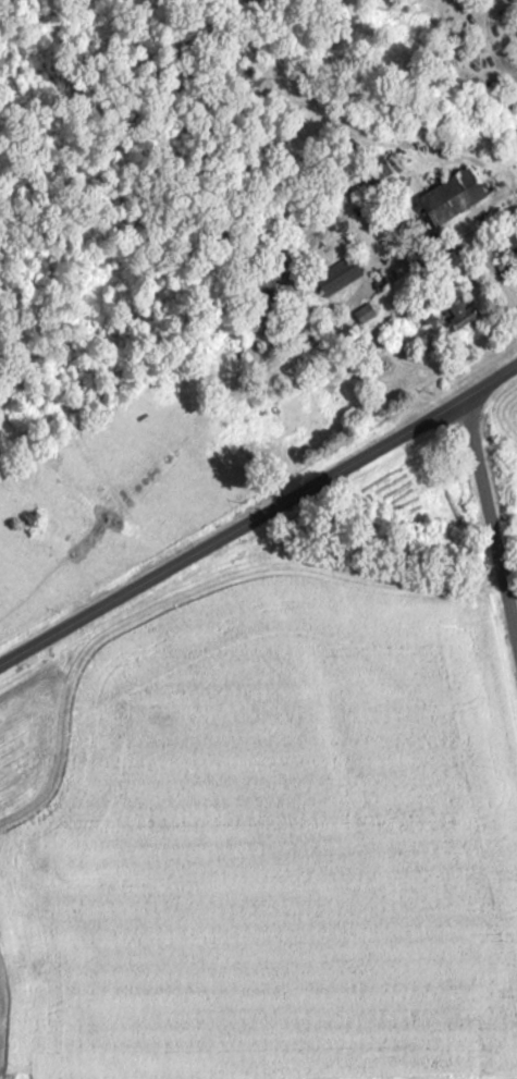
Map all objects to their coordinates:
building: (452, 195)
building: (508, 246)
road: (491, 269)
building: (337, 274)
building: (459, 310)
road: (258, 516)
road: (490, 529)

